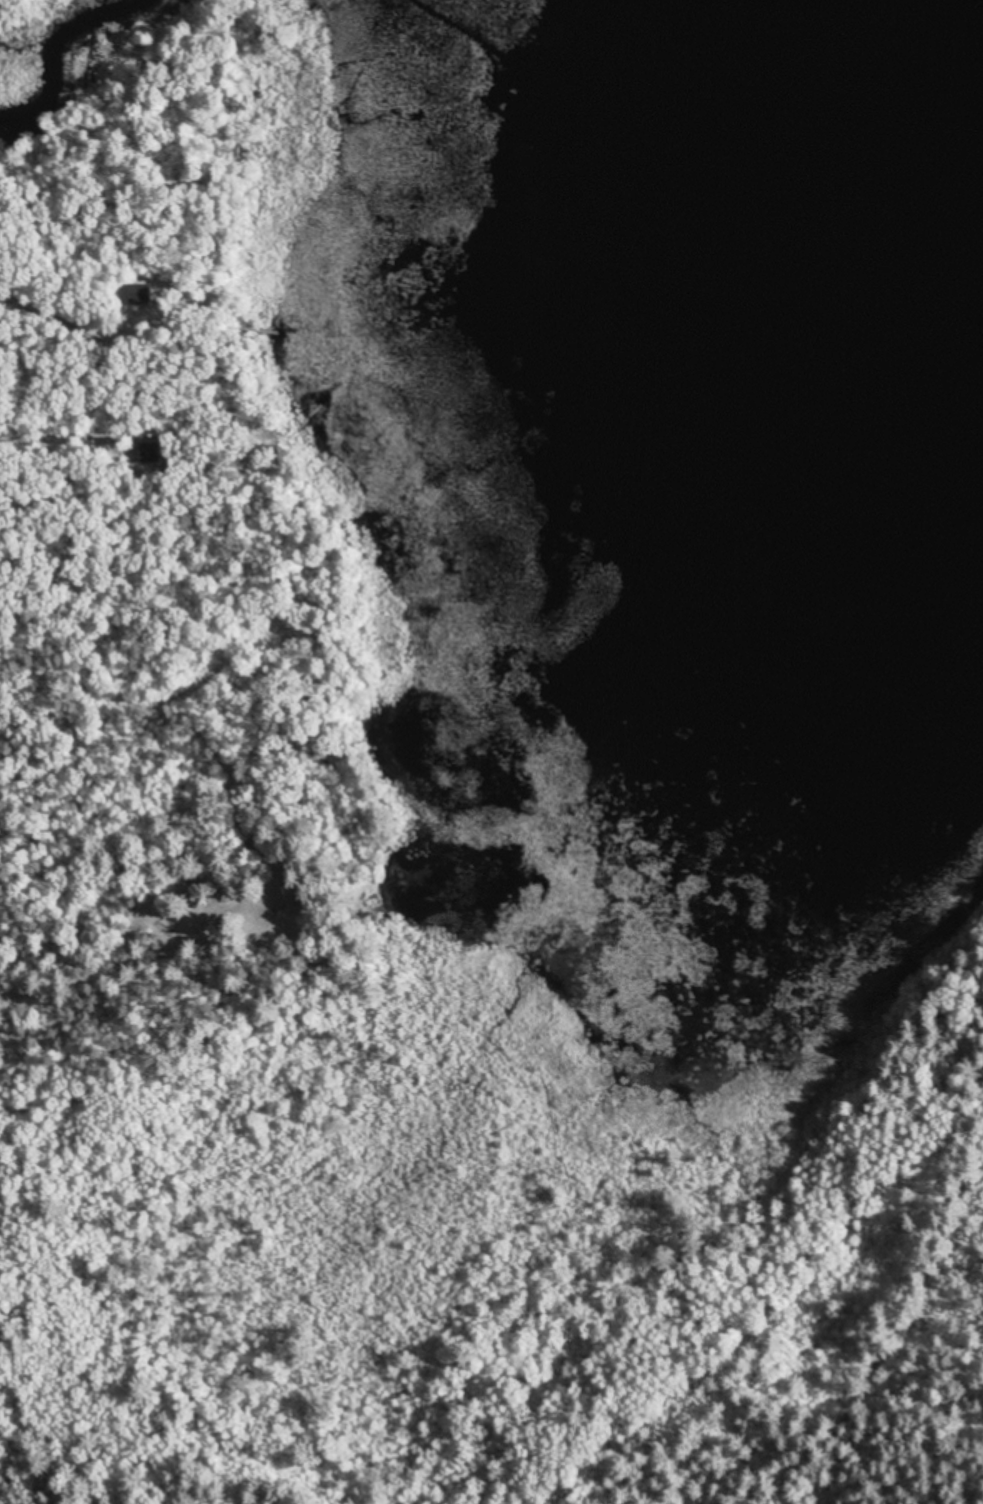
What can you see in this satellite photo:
building: (146, 293)
building: (153, 450)
building: (281, 882)
building: (194, 895)
road: (112, 999)
road: (882, 1304)
road: (80, 1421)

